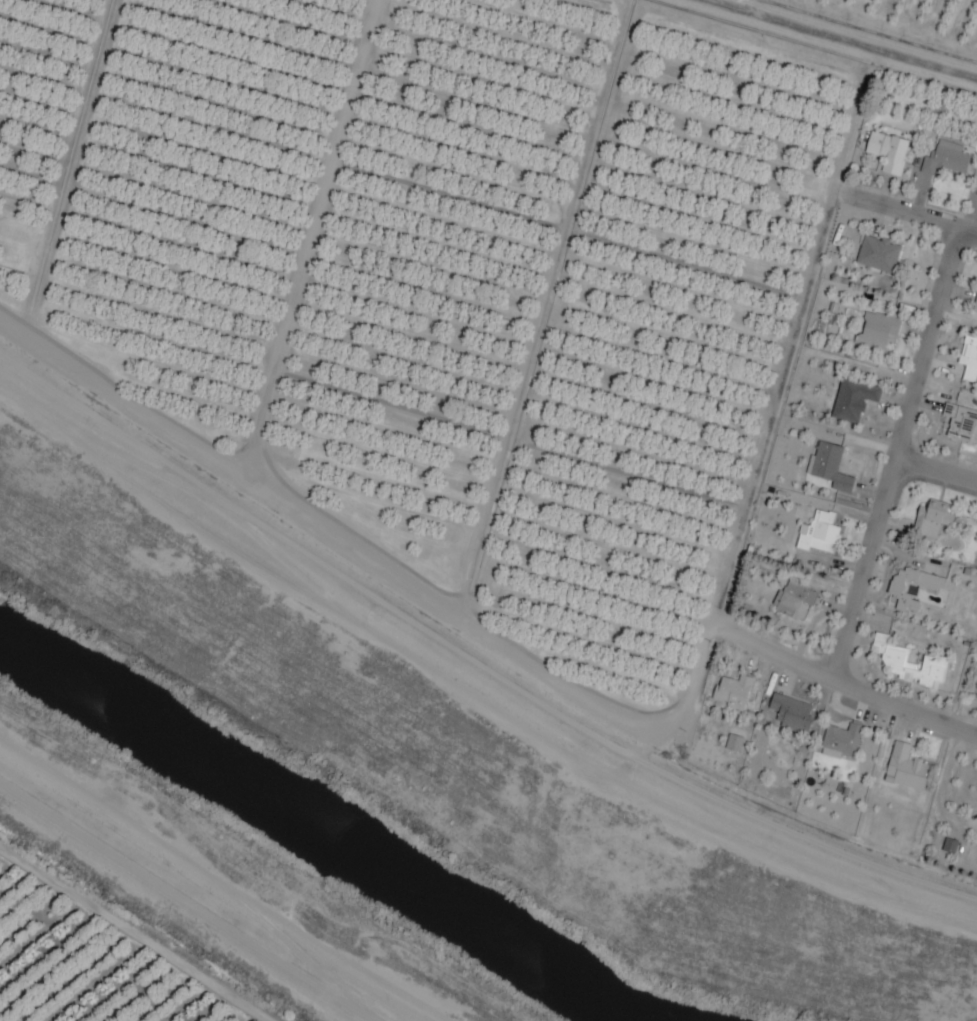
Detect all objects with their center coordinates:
building: (887, 152)
building: (945, 160)
road: (907, 214)
building: (877, 255)
building: (975, 307)
building: (876, 332)
building: (969, 360)
building: (852, 401)
building: (961, 424)
road: (899, 456)
building: (829, 468)
road: (937, 471)
building: (931, 520)
building: (819, 535)
building: (934, 589)
building: (793, 598)
road: (507, 653)
building: (908, 665)
road: (472, 689)
building: (732, 693)
building: (789, 716)
building: (841, 742)
building: (734, 745)
building: (905, 769)
river: (315, 833)
road: (191, 903)
road: (137, 934)

